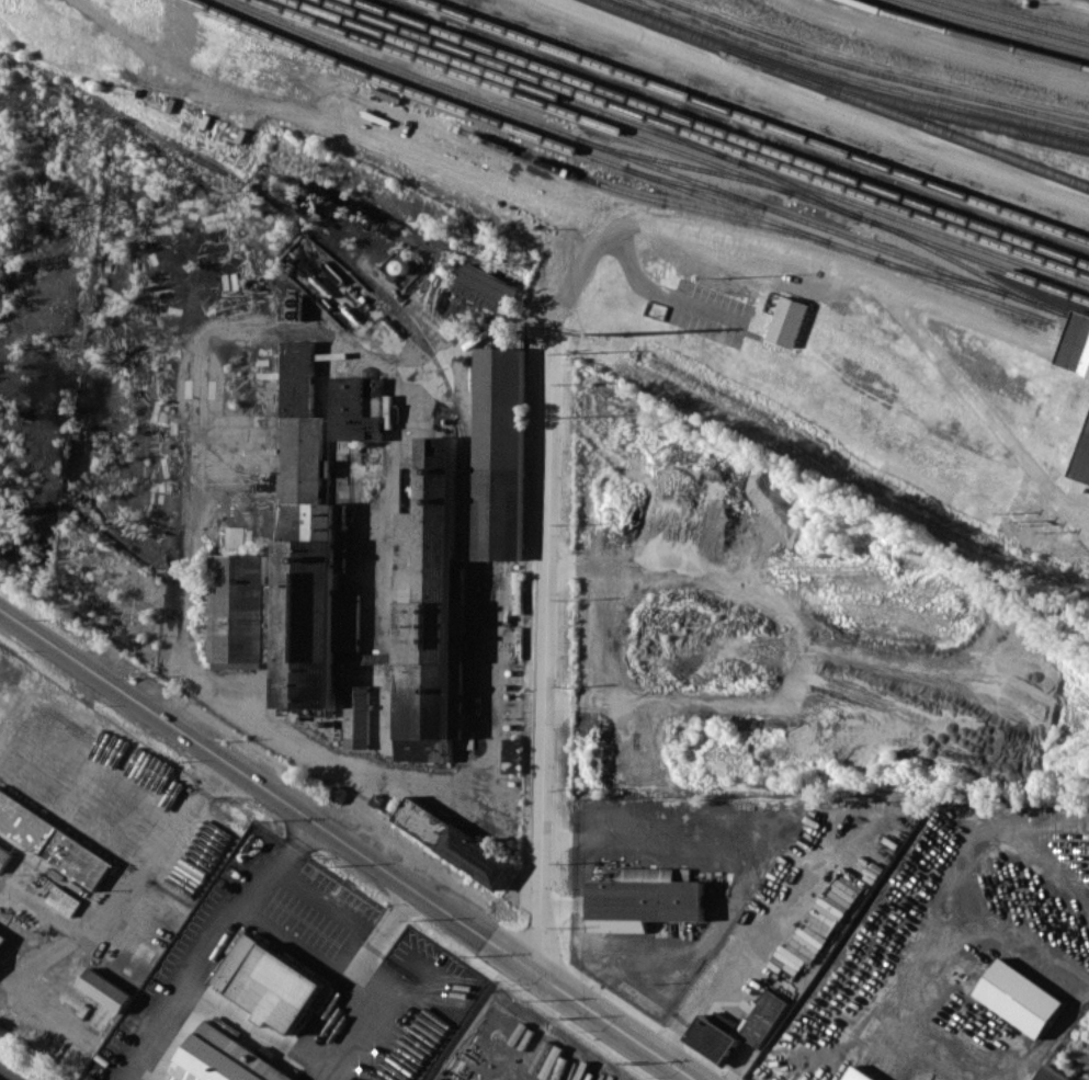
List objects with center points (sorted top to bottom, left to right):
railway: (1029, 15)
railway: (405, 16)
railway: (1012, 21)
railway: (990, 27)
railway: (971, 36)
road: (939, 47)
railway: (526, 66)
railway: (876, 69)
railway: (858, 78)
railway: (842, 83)
road: (823, 102)
railway: (909, 115)
railway: (759, 118)
railway: (662, 126)
railway: (734, 134)
railway: (708, 137)
railway: (692, 144)
railway: (674, 149)
railway: (682, 163)
railway: (654, 166)
railway: (640, 172)
railway: (694, 185)
railway: (798, 187)
railway: (637, 194)
road: (547, 213)
railway: (969, 268)
railway: (939, 274)
building: (486, 288)
road: (653, 291)
building: (292, 307)
building: (786, 321)
building: (1078, 344)
road: (979, 405)
building: (359, 408)
building: (298, 421)
building: (499, 453)
building: (1084, 464)
road: (549, 594)
building: (428, 598)
building: (245, 610)
building: (356, 716)
road: (242, 773)
road: (478, 786)
building: (53, 841)
building: (453, 841)
building: (3, 856)
building: (65, 898)
building: (643, 899)
road: (327, 905)
road: (113, 924)
building: (2, 936)
road: (295, 943)
road: (215, 945)
road: (591, 951)
road: (726, 975)
building: (270, 984)
road: (344, 987)
building: (105, 989)
building: (1019, 997)
road: (589, 1008)
building: (763, 1018)
building: (712, 1035)
building: (225, 1059)
building: (858, 1075)
building: (1047, 1075)
railway: (3, 1077)

